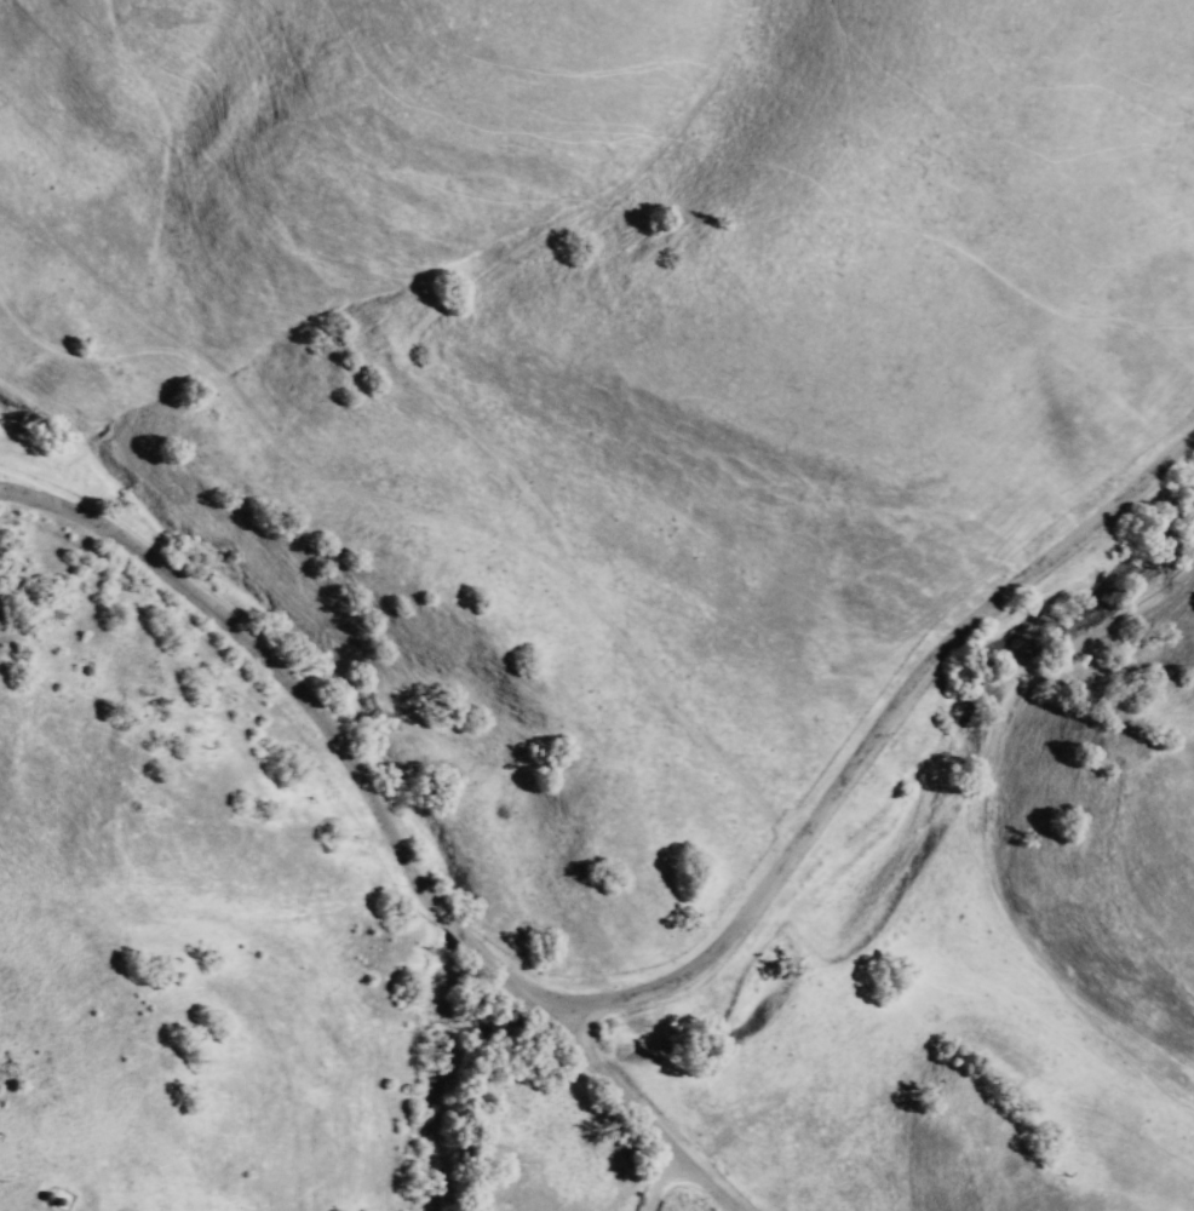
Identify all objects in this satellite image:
road: (150, 959)
road: (618, 988)
road: (609, 1094)
road: (626, 1180)
road: (650, 1182)
building: (61, 1200)

